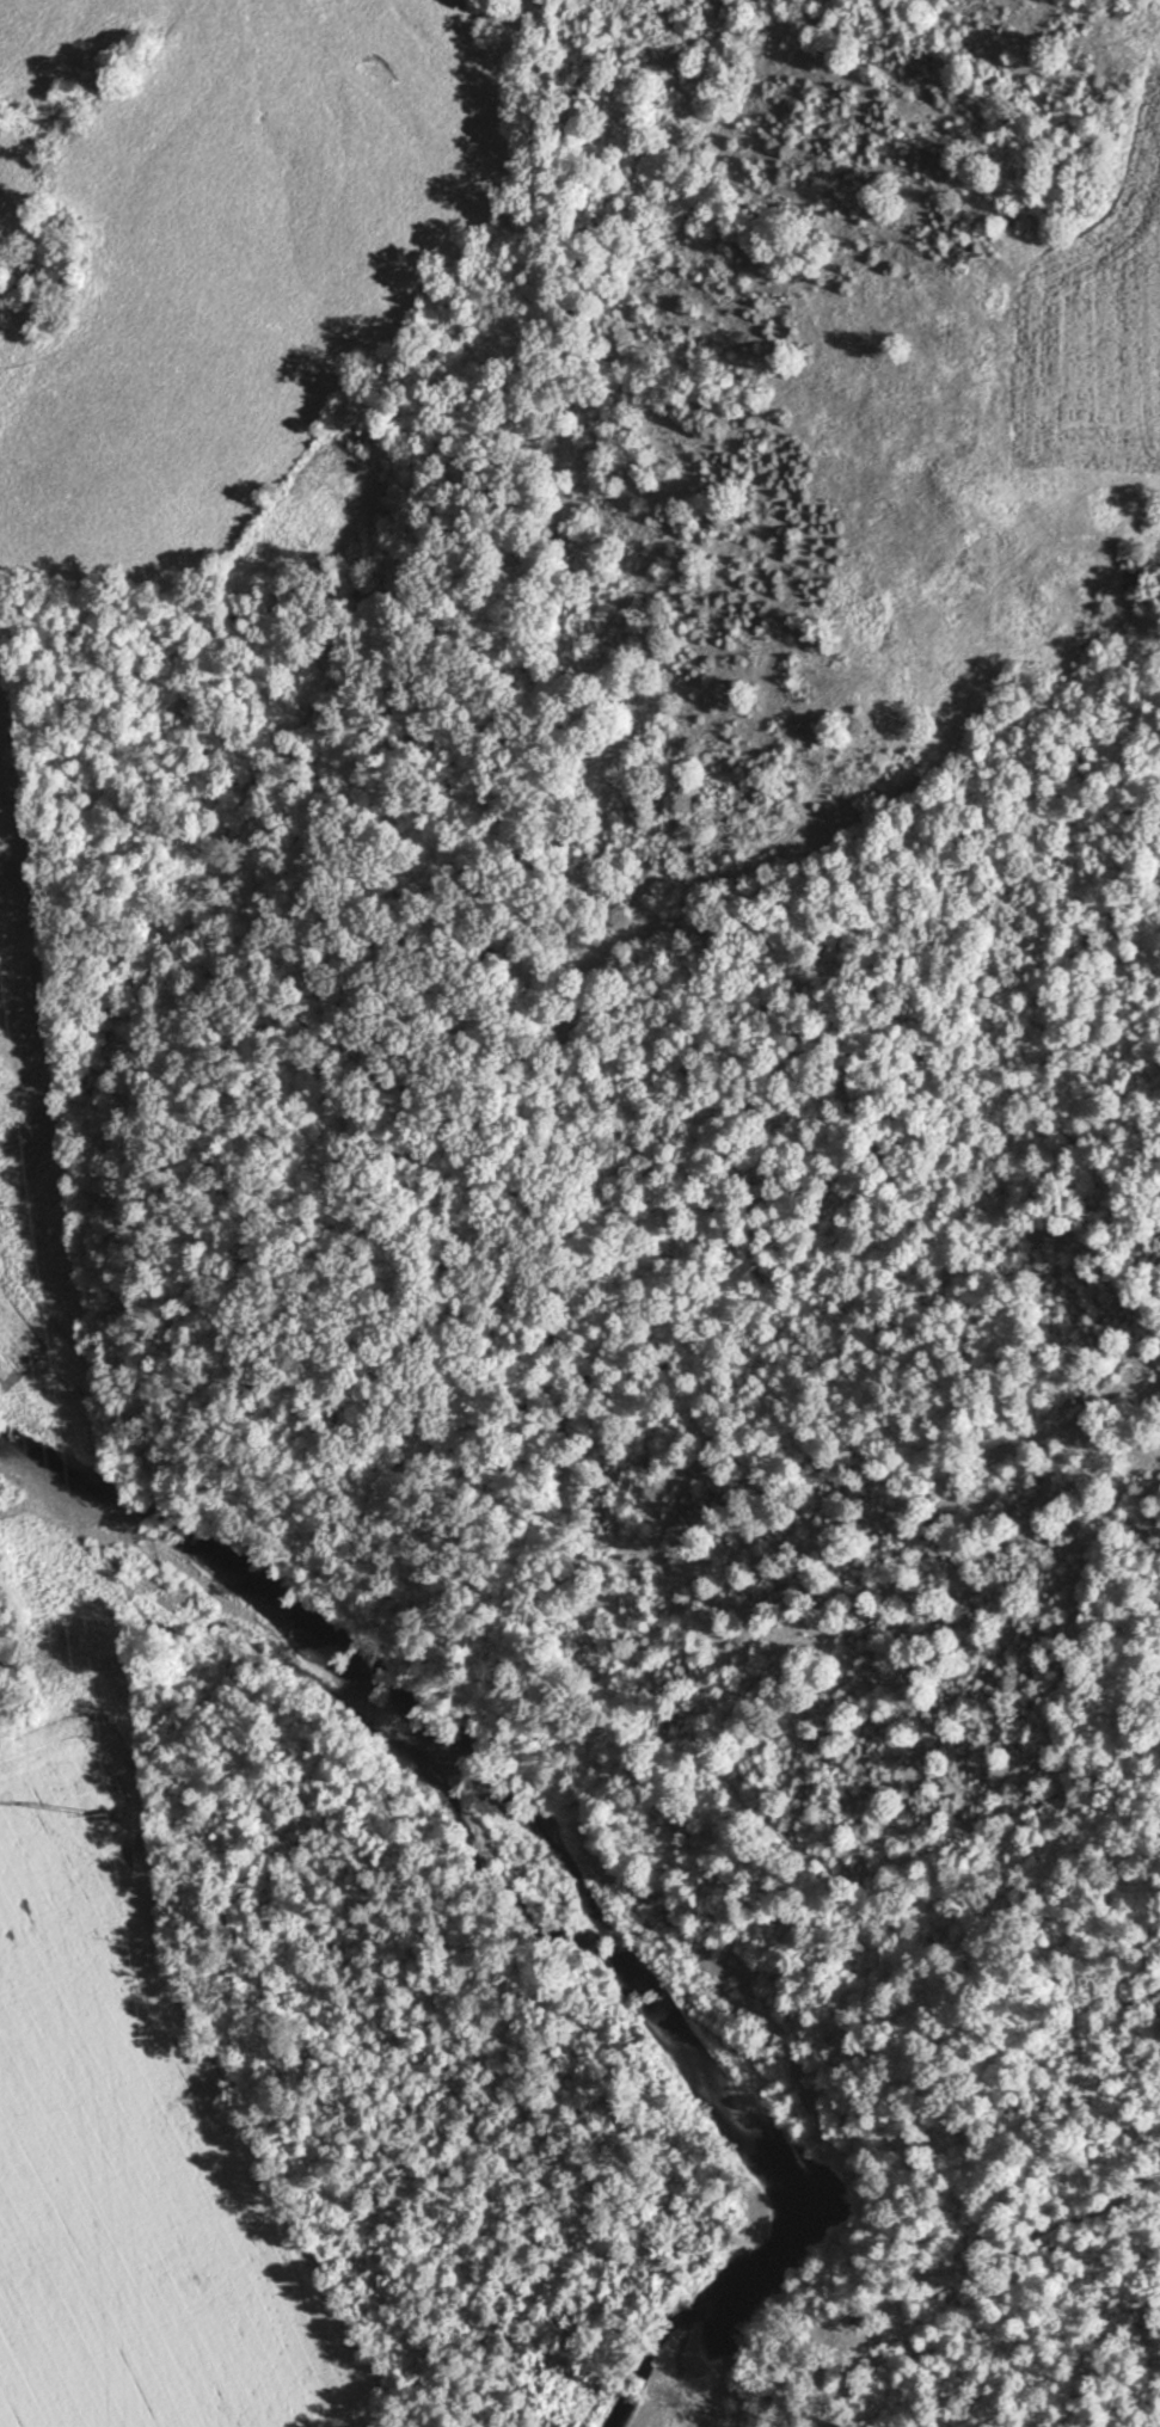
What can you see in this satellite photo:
power tower: (99, 1818)
river: (548, 1867)

